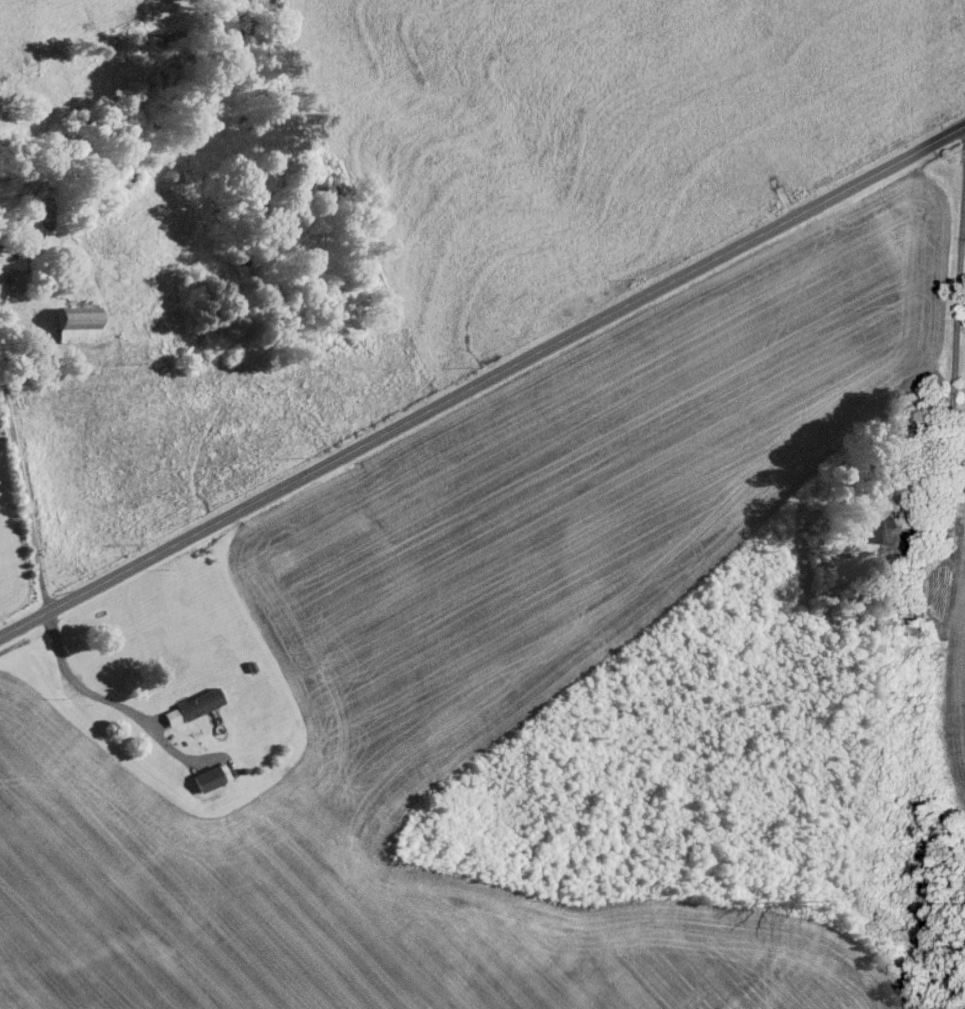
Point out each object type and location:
crop: (73, 58)
road: (720, 107)
crop: (492, 217)
road: (958, 265)
building: (13, 279)
building: (74, 325)
road: (958, 369)
road: (482, 379)
crop: (958, 389)
road: (949, 390)
road: (926, 483)
road: (22, 503)
building: (875, 523)
crop: (505, 633)
crop: (953, 676)
road: (77, 686)
building: (197, 703)
building: (170, 716)
building: (205, 778)

